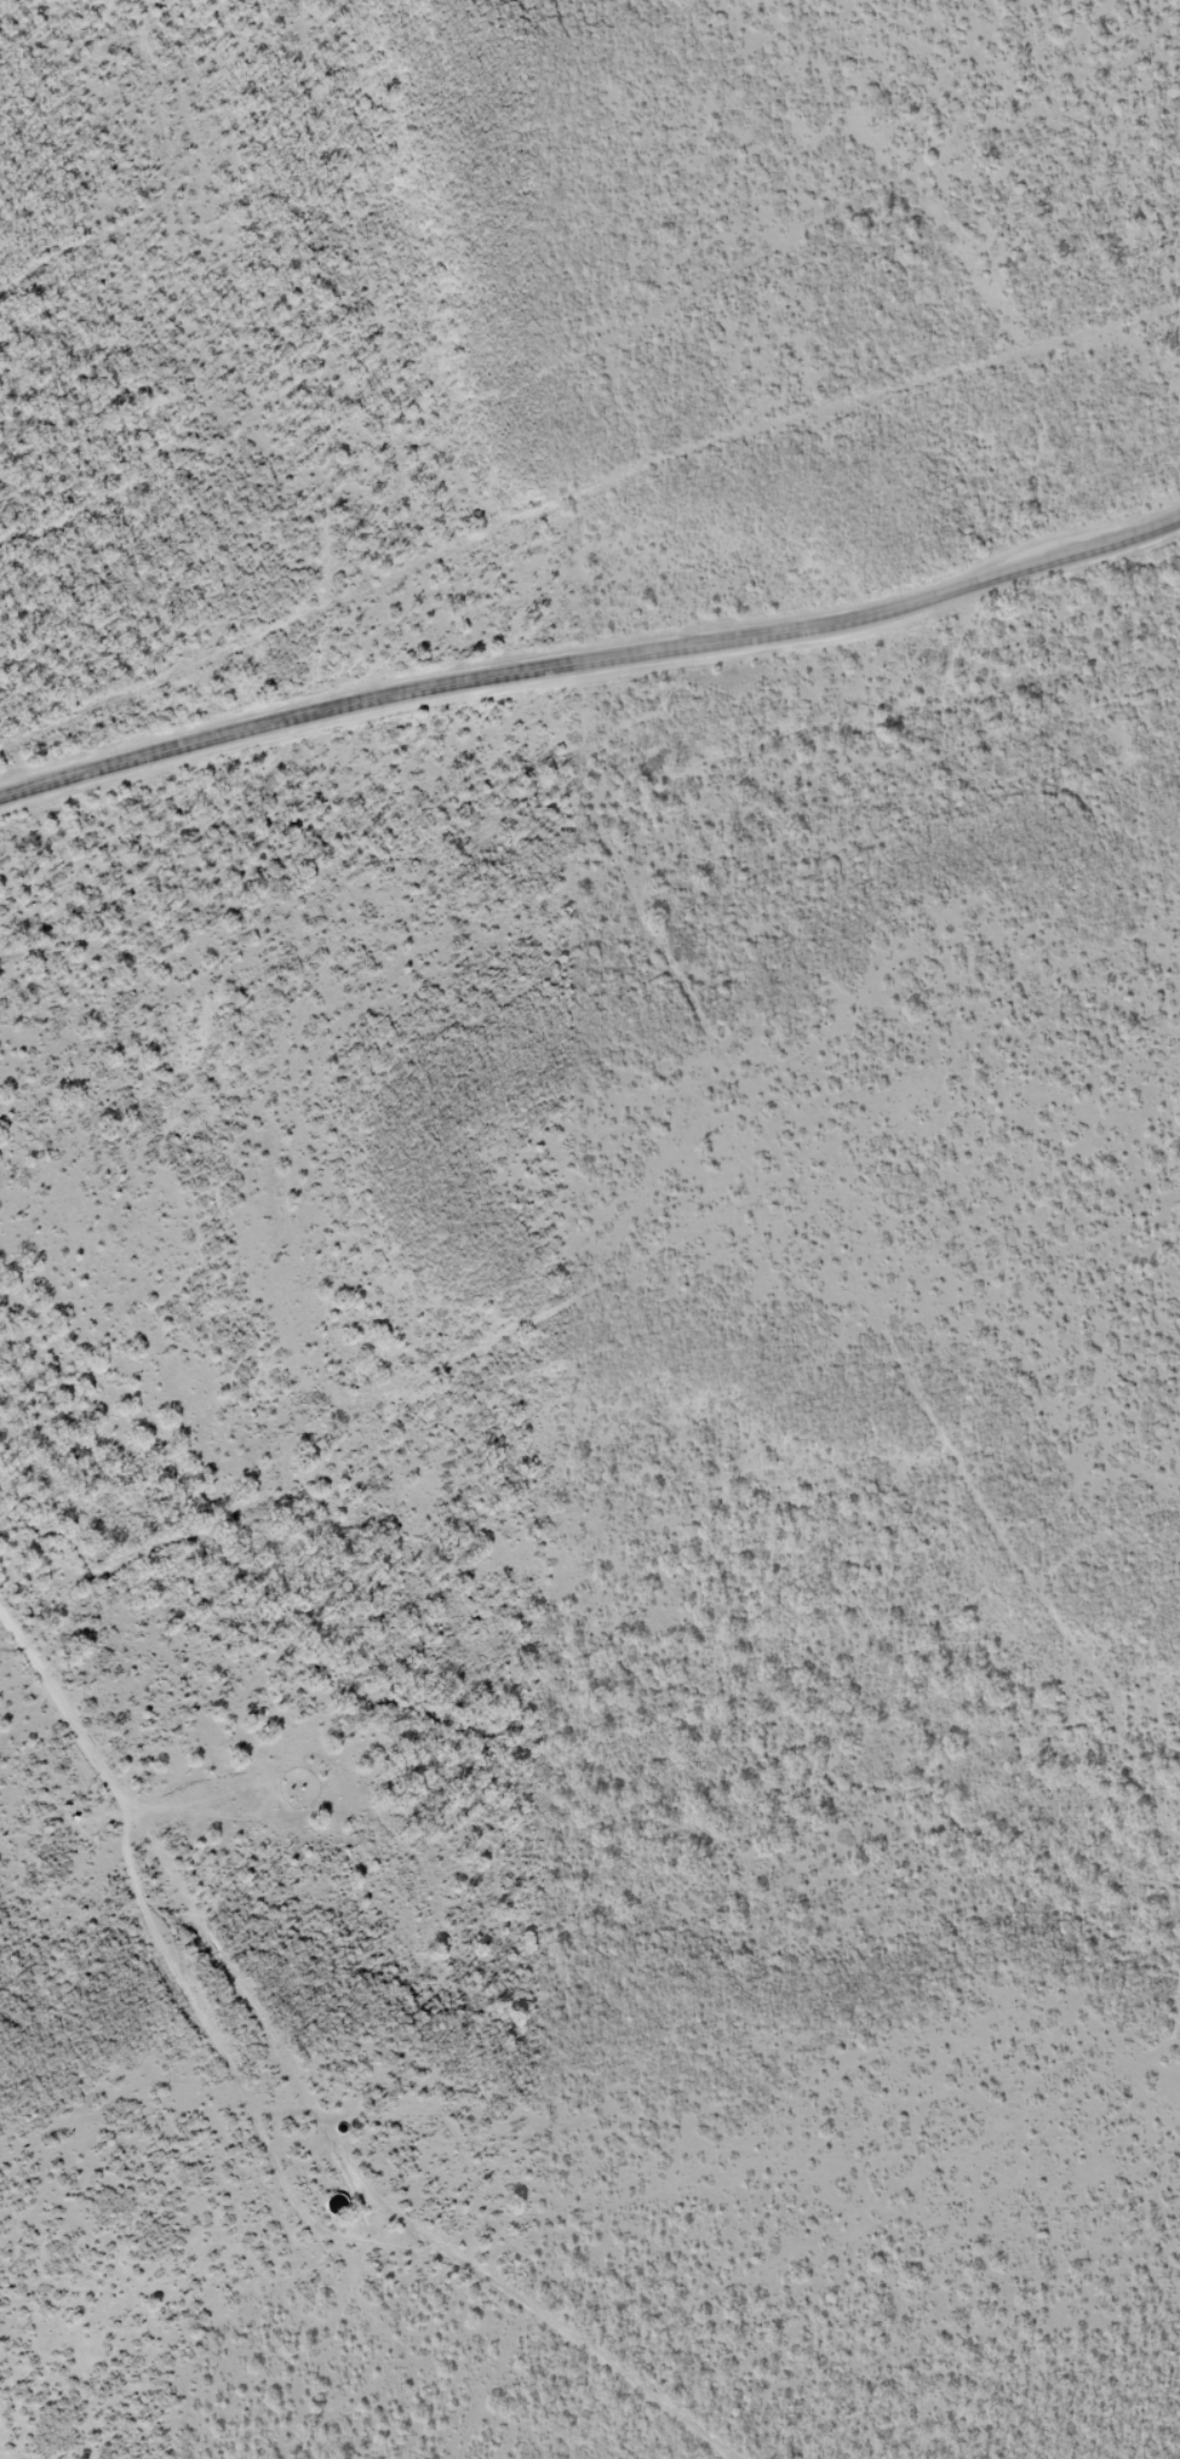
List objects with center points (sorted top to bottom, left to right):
road: (591, 665)

